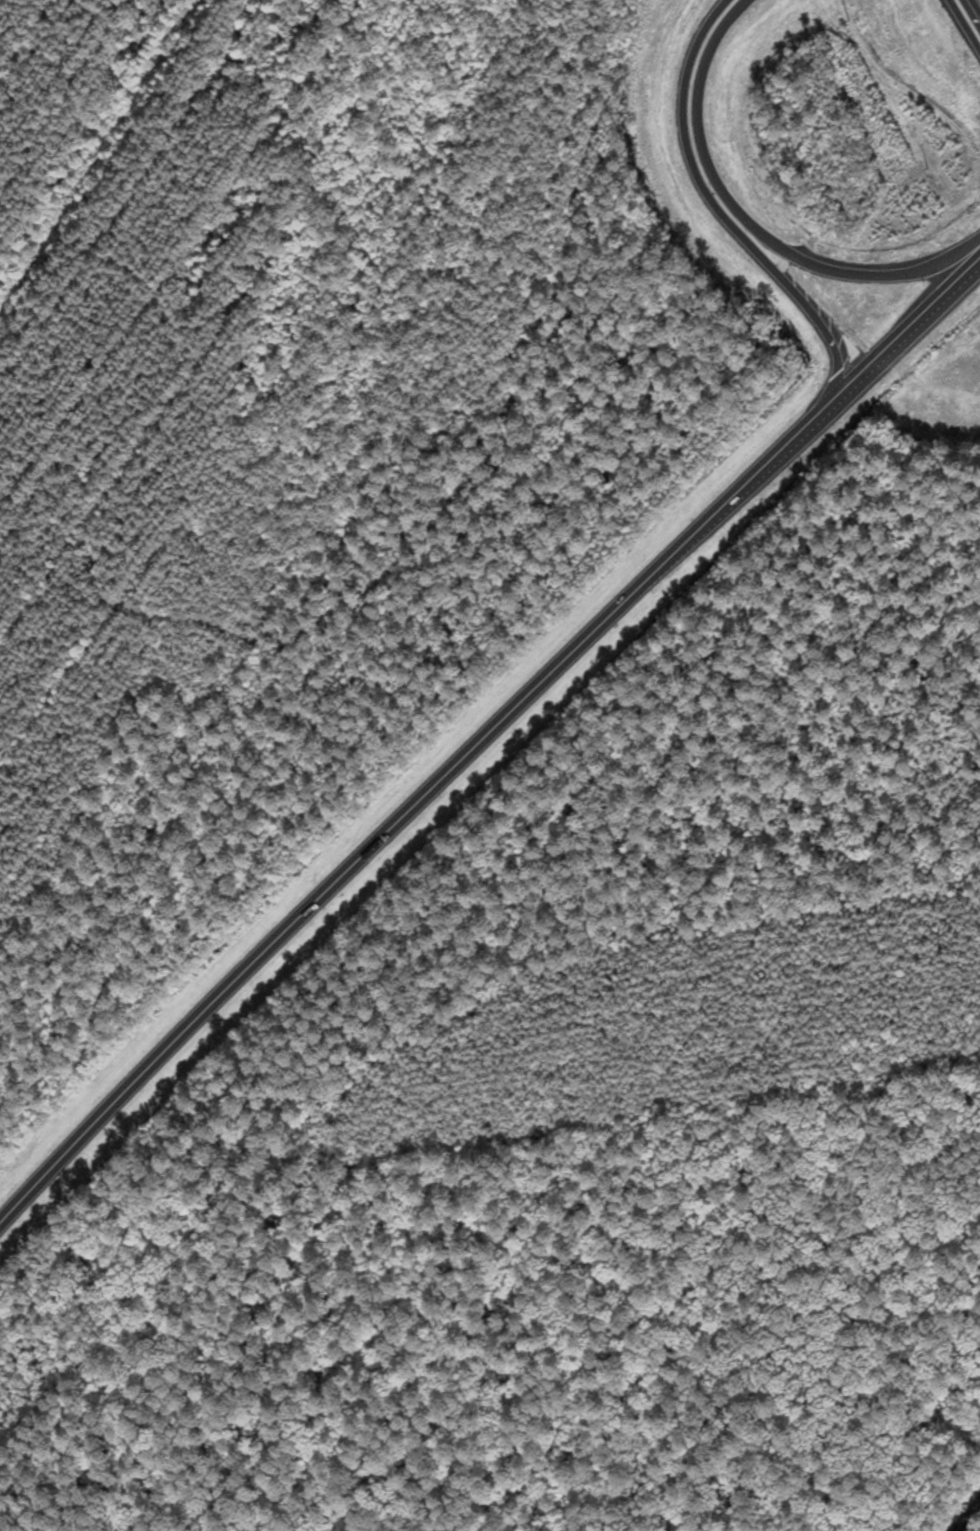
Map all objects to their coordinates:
road: (969, 17)
road: (106, 167)
road: (721, 214)
road: (750, 220)
road: (484, 732)
road: (970, 1519)

